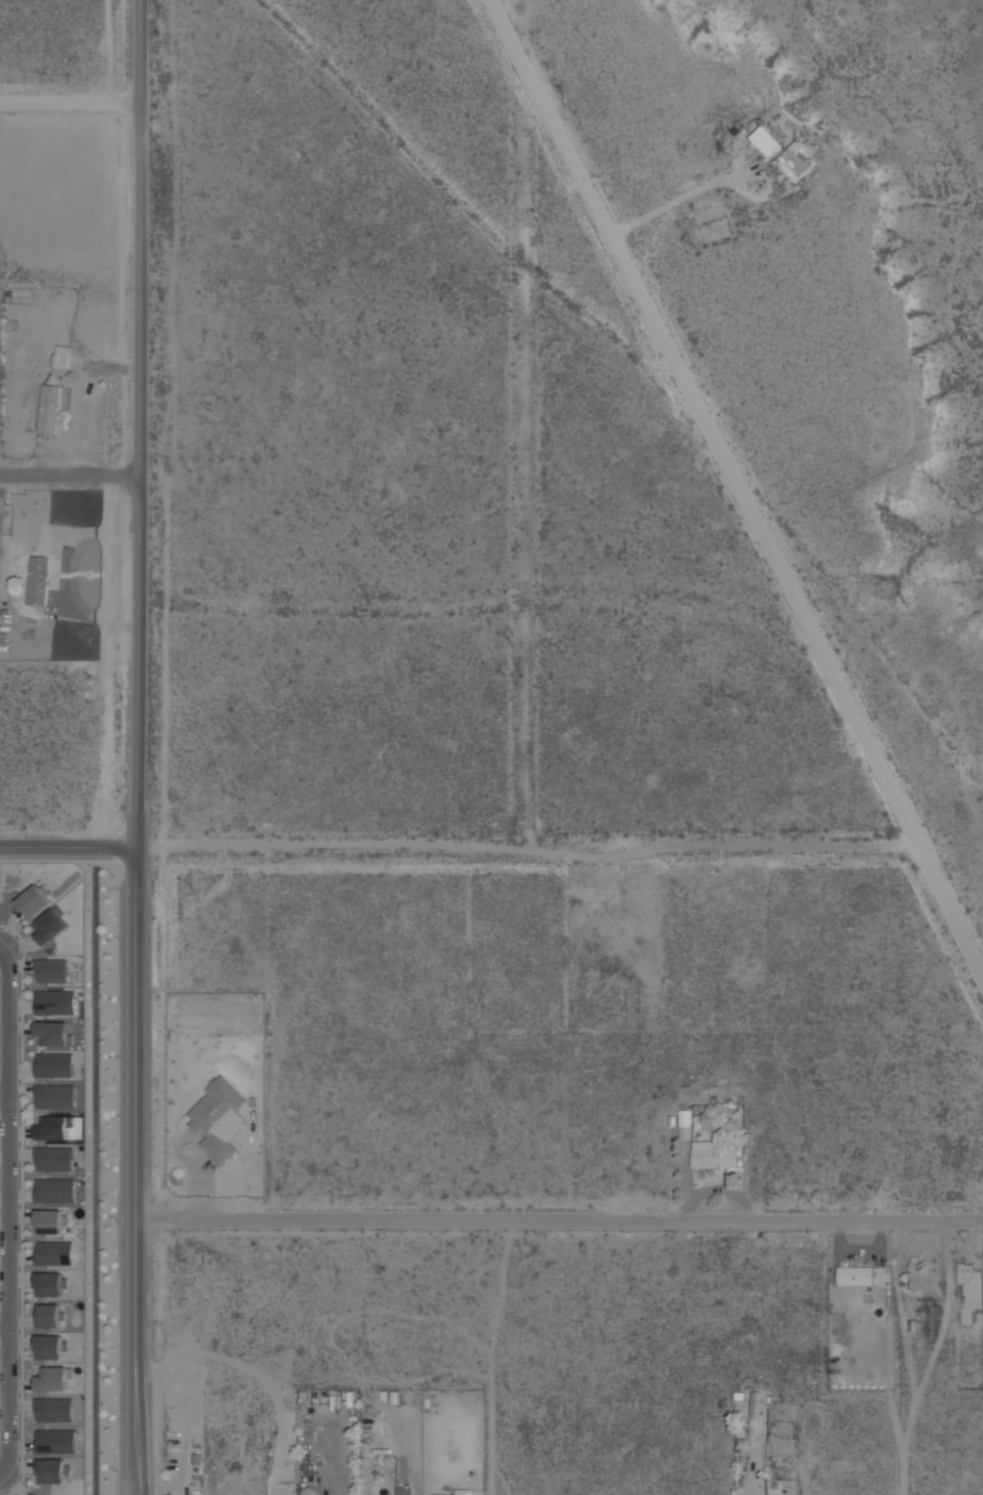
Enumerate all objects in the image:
road: (71, 102)
building: (765, 139)
building: (794, 159)
building: (60, 355)
building: (49, 408)
road: (539, 473)
road: (70, 475)
road: (737, 486)
building: (37, 579)
road: (137, 747)
road: (68, 847)
road: (528, 855)
building: (34, 899)
building: (50, 924)
building: (50, 970)
building: (54, 1001)
building: (52, 1033)
building: (53, 1063)
building: (54, 1095)
road: (4, 1099)
building: (214, 1116)
building: (683, 1123)
building: (54, 1126)
road: (96, 1128)
building: (712, 1155)
building: (53, 1157)
building: (54, 1189)
road: (9, 1210)
building: (50, 1219)
road: (559, 1219)
building: (53, 1252)
building: (856, 1274)
building: (923, 1278)
building: (51, 1283)
building: (51, 1314)
road: (4, 1323)
building: (51, 1345)
road: (941, 1358)
building: (55, 1378)
building: (53, 1408)
building: (755, 1412)
building: (54, 1440)
building: (52, 1470)
building: (401, 1491)
building: (463, 1491)
building: (37, 1494)

